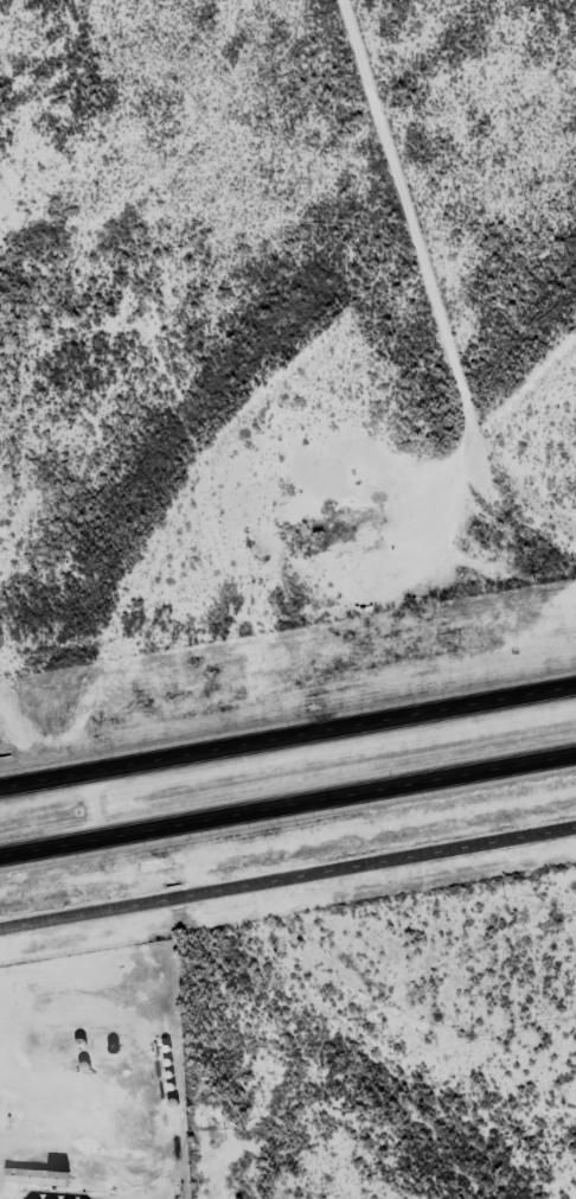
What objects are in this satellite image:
road: (288, 736)
road: (288, 801)
road: (288, 875)
building: (44, 1176)

